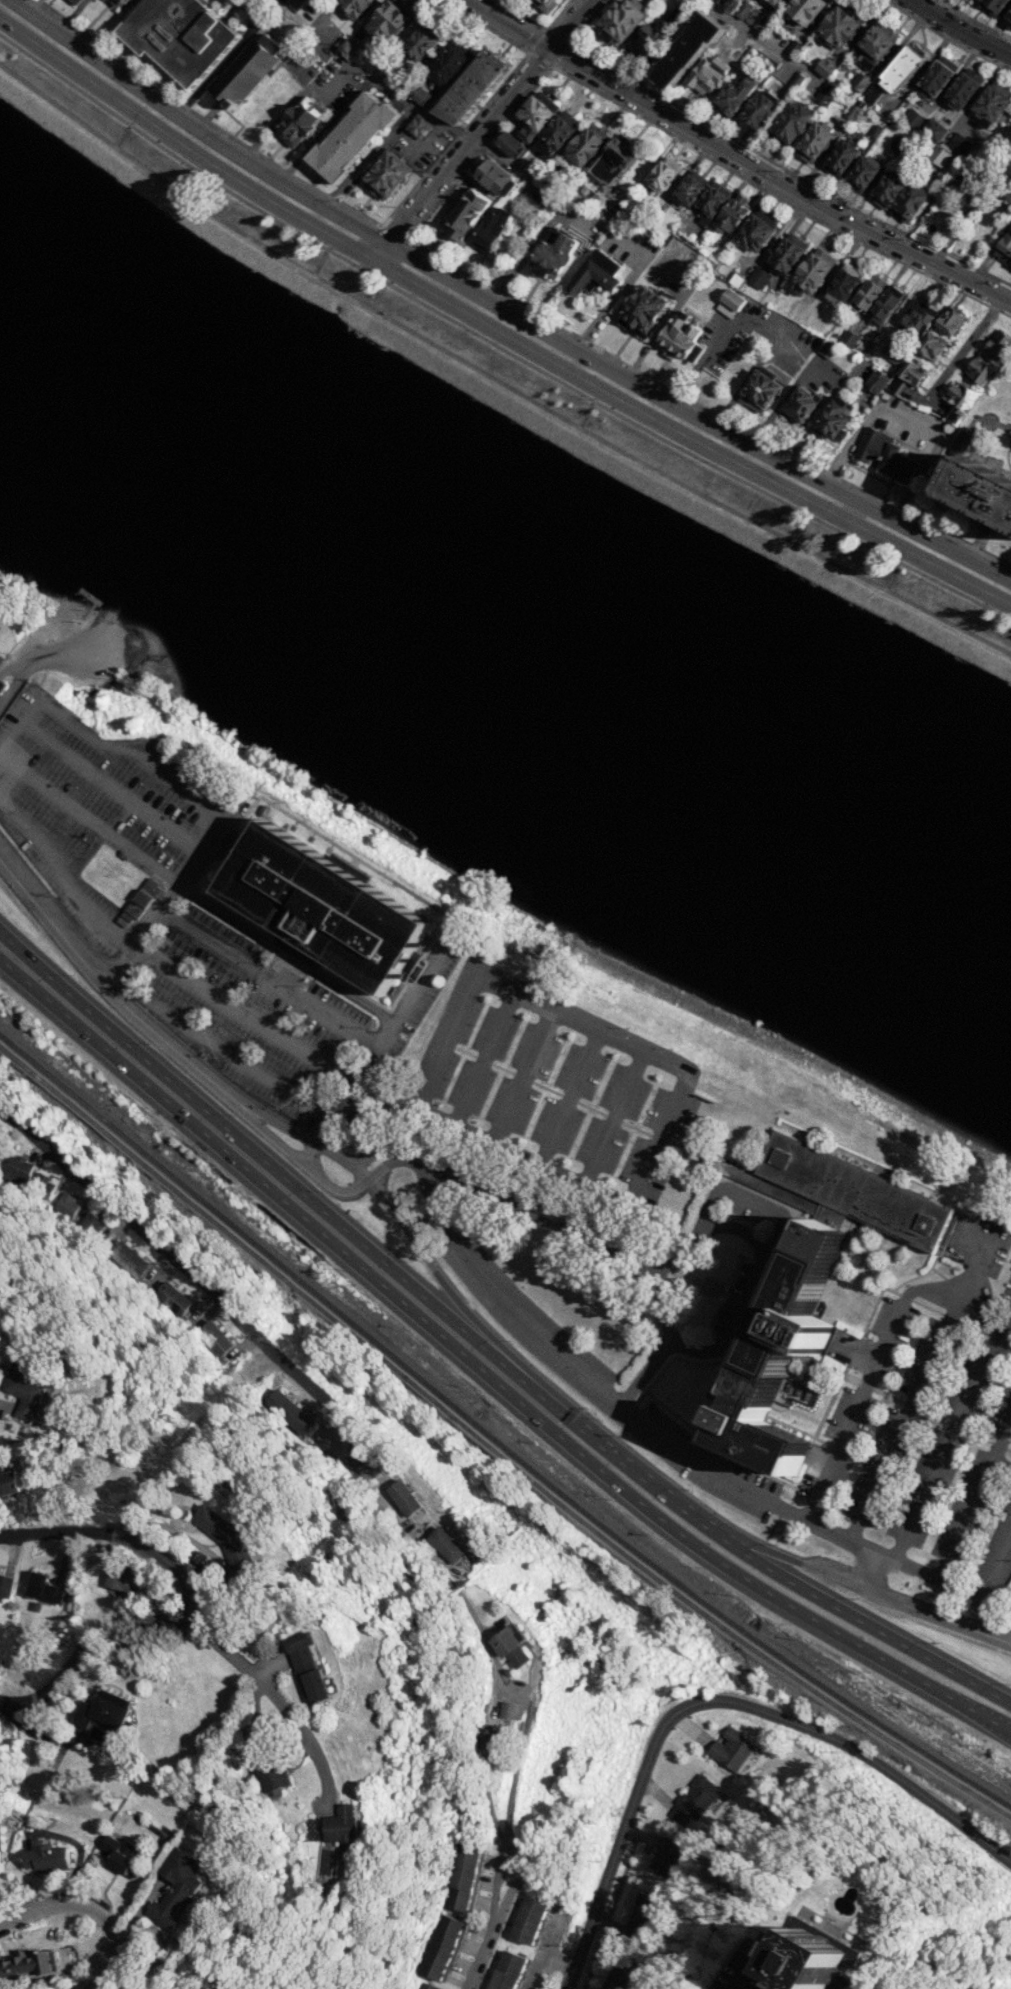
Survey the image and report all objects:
building: (967, 0)
building: (973, 0)
building: (71, 2)
building: (297, 2)
building: (774, 2)
building: (113, 4)
building: (726, 4)
building: (543, 5)
building: (992, 5)
building: (350, 7)
building: (802, 9)
building: (742, 10)
building: (1008, 13)
road: (575, 16)
road: (69, 17)
road: (500, 17)
building: (617, 20)
building: (385, 21)
building: (1009, 21)
building: (759, 22)
road: (973, 22)
building: (838, 24)
road: (538, 25)
road: (964, 28)
building: (181, 36)
road: (757, 38)
road: (948, 38)
building: (875, 39)
building: (647, 40)
building: (417, 42)
road: (549, 47)
building: (347, 48)
building: (685, 49)
building: (794, 49)
building: (867, 61)
building: (446, 63)
road: (551, 64)
building: (823, 67)
building: (898, 69)
building: (706, 73)
building: (243, 74)
building: (936, 74)
building: (796, 80)
building: (861, 82)
building: (962, 86)
building: (473, 87)
building: (825, 92)
building: (871, 92)
building: (419, 93)
building: (732, 95)
building: (266, 99)
road: (294, 100)
building: (990, 101)
road: (410, 103)
building: (757, 107)
building: (535, 109)
building: (852, 111)
building: (913, 118)
building: (299, 121)
building: (788, 121)
building: (418, 127)
building: (557, 129)
building: (933, 129)
building: (874, 131)
building: (524, 133)
building: (352, 138)
building: (814, 140)
road: (427, 141)
building: (897, 143)
building: (507, 144)
building: (960, 144)
building: (584, 145)
road: (478, 148)
building: (938, 156)
road: (763, 157)
building: (839, 157)
road: (453, 161)
building: (611, 162)
building: (1007, 168)
building: (861, 173)
building: (662, 174)
road: (766, 174)
building: (383, 175)
building: (493, 178)
building: (963, 183)
building: (689, 186)
building: (886, 189)
road: (777, 197)
building: (711, 198)
building: (909, 201)
building: (545, 202)
road: (344, 204)
building: (462, 214)
building: (730, 215)
building: (488, 228)
road: (602, 228)
road: (395, 231)
building: (754, 231)
building: (1004, 249)
building: (553, 254)
building: (786, 254)
road: (405, 257)
building: (1010, 268)
building: (716, 270)
building: (810, 271)
building: (593, 275)
building: (758, 277)
building: (735, 281)
building: (843, 282)
road: (415, 285)
building: (866, 293)
building: (728, 303)
building: (884, 304)
building: (793, 310)
building: (640, 312)
road: (665, 319)
building: (948, 321)
building: (913, 324)
road: (727, 331)
building: (679, 338)
building: (848, 339)
building: (997, 345)
road: (494, 346)
road: (964, 346)
building: (930, 347)
building: (828, 348)
building: (896, 356)
building: (977, 370)
building: (909, 373)
road: (494, 380)
building: (874, 383)
building: (892, 385)
building: (757, 393)
building: (958, 396)
building: (797, 406)
road: (703, 408)
road: (777, 408)
building: (834, 419)
road: (908, 422)
building: (962, 440)
building: (884, 456)
road: (1006, 460)
parking lot: (1010, 464)
building: (980, 490)
road: (838, 494)
road: (874, 512)
road: (851, 513)
building: (984, 525)
road: (951, 553)
road: (929, 564)
pier: (93, 601)
river: (496, 646)
road: (67, 648)
building: (0, 658)
road: (29, 664)
building: (2, 686)
road: (154, 764)
road: (110, 787)
road: (87, 819)
building: (139, 902)
building: (309, 911)
parking lot: (187, 918)
road: (225, 953)
road: (156, 962)
road: (97, 981)
road: (599, 1034)
road: (374, 1048)
road: (481, 1059)
road: (237, 1060)
road: (521, 1078)
parking lot: (553, 1088)
road: (567, 1098)
road: (612, 1119)
road: (422, 1166)
building: (20, 1168)
railway: (174, 1183)
building: (44, 1185)
road: (503, 1185)
building: (852, 1190)
building: (68, 1205)
road: (576, 1208)
parking lot: (746, 1212)
building: (92, 1224)
road: (741, 1229)
road: (778, 1231)
road: (408, 1233)
building: (130, 1259)
road: (662, 1261)
road: (707, 1282)
building: (174, 1298)
parking lot: (730, 1300)
road: (755, 1311)
building: (216, 1338)
road: (485, 1344)
building: (785, 1354)
road: (851, 1358)
road: (876, 1359)
road: (297, 1375)
road: (482, 1377)
parking lot: (600, 1380)
road: (922, 1380)
building: (25, 1389)
road: (605, 1393)
road: (903, 1402)
road: (583, 1408)
building: (292, 1412)
parking lot: (933, 1414)
road: (951, 1433)
road: (716, 1447)
railway: (489, 1454)
building: (10, 1483)
road: (799, 1483)
building: (405, 1497)
road: (974, 1497)
road: (784, 1509)
road: (771, 1529)
road: (163, 1530)
road: (117, 1536)
building: (229, 1540)
building: (447, 1544)
road: (873, 1560)
road: (866, 1572)
railway: (672, 1579)
building: (122, 1580)
road: (856, 1581)
building: (6, 1585)
building: (45, 1587)
road: (969, 1595)
road: (943, 1608)
building: (1010, 1621)
road: (82, 1643)
building: (512, 1645)
building: (307, 1668)
road: (276, 1700)
road: (717, 1702)
building: (106, 1712)
building: (733, 1751)
building: (266, 1764)
building: (693, 1801)
building: (342, 1827)
building: (1, 1836)
building: (120, 1852)
building: (46, 1856)
building: (667, 1856)
building: (464, 1879)
building: (177, 1889)
road: (91, 1910)
building: (643, 1915)
road: (496, 1916)
building: (531, 1920)
building: (444, 1947)
building: (815, 1957)
road: (478, 1959)
building: (18, 1967)
building: (509, 1971)
building: (619, 1976)
building: (429, 1986)

